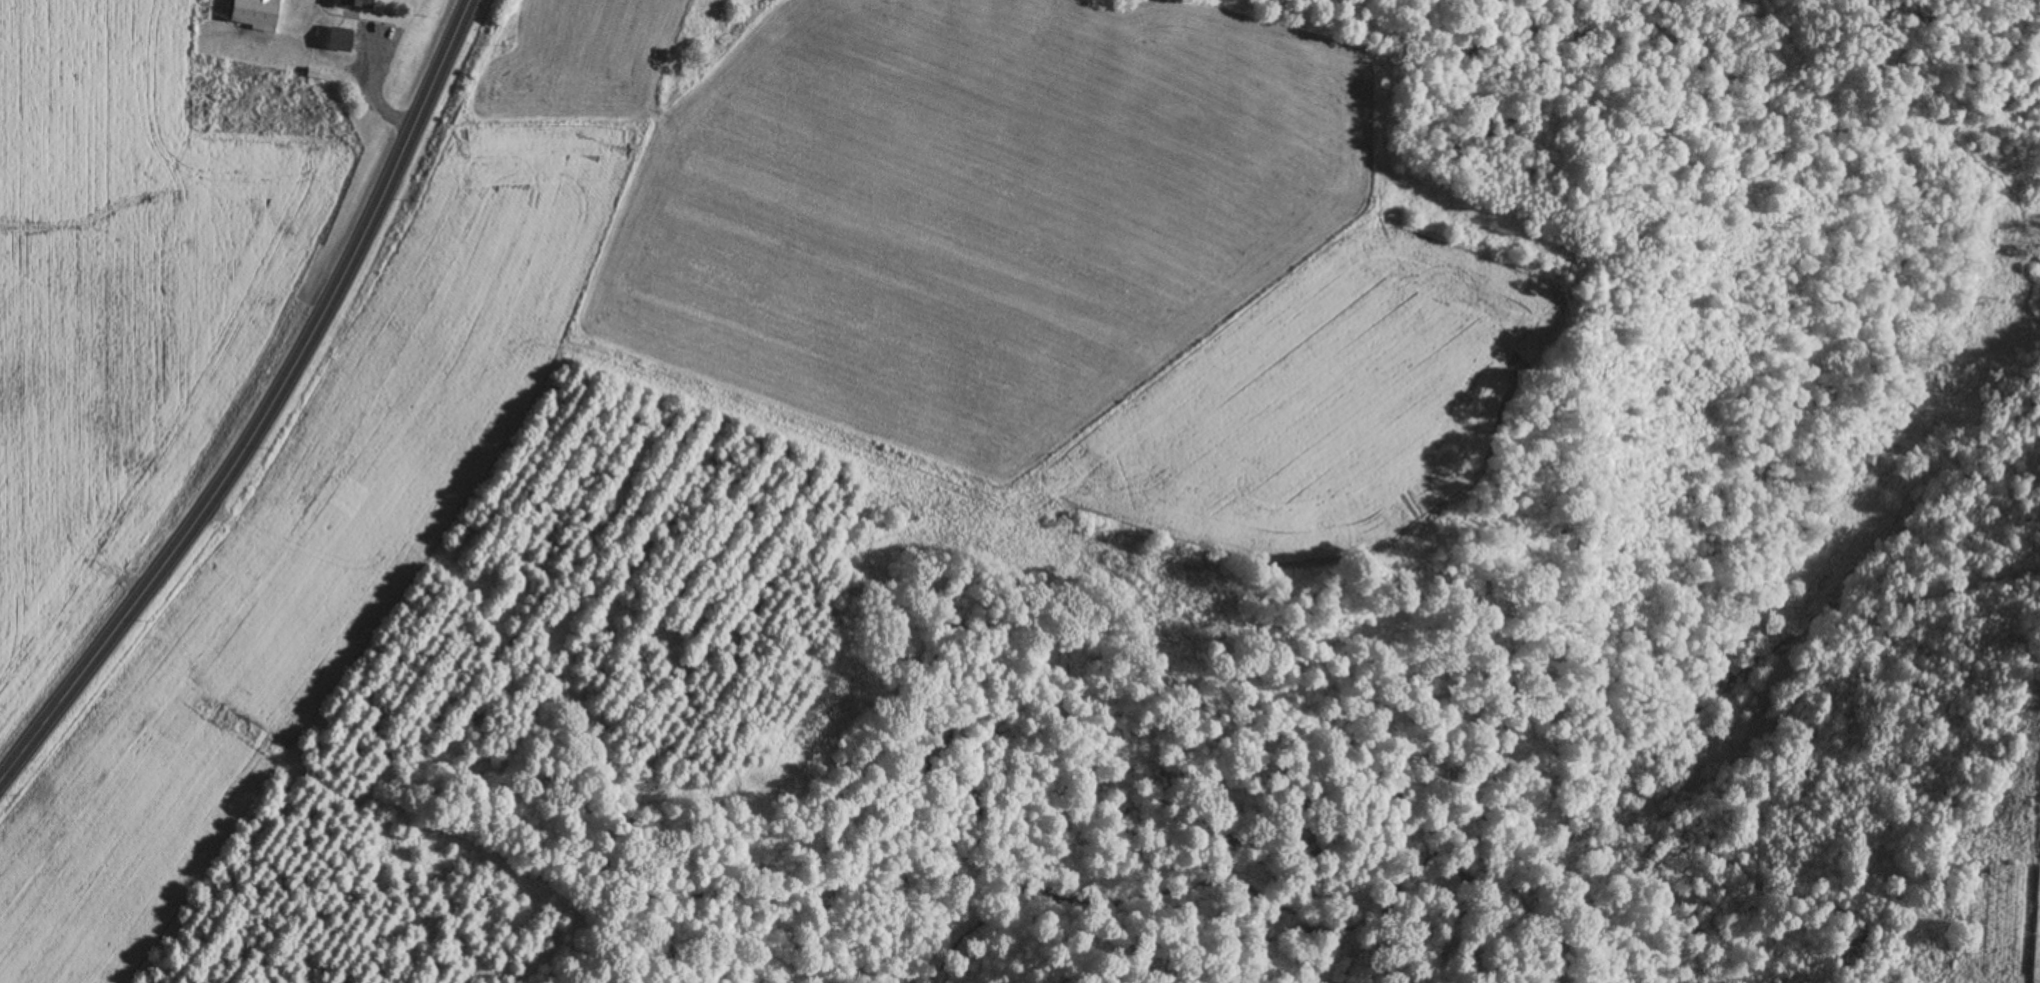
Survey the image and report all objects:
building: (352, 5)
building: (255, 15)
building: (337, 41)
road: (273, 406)

